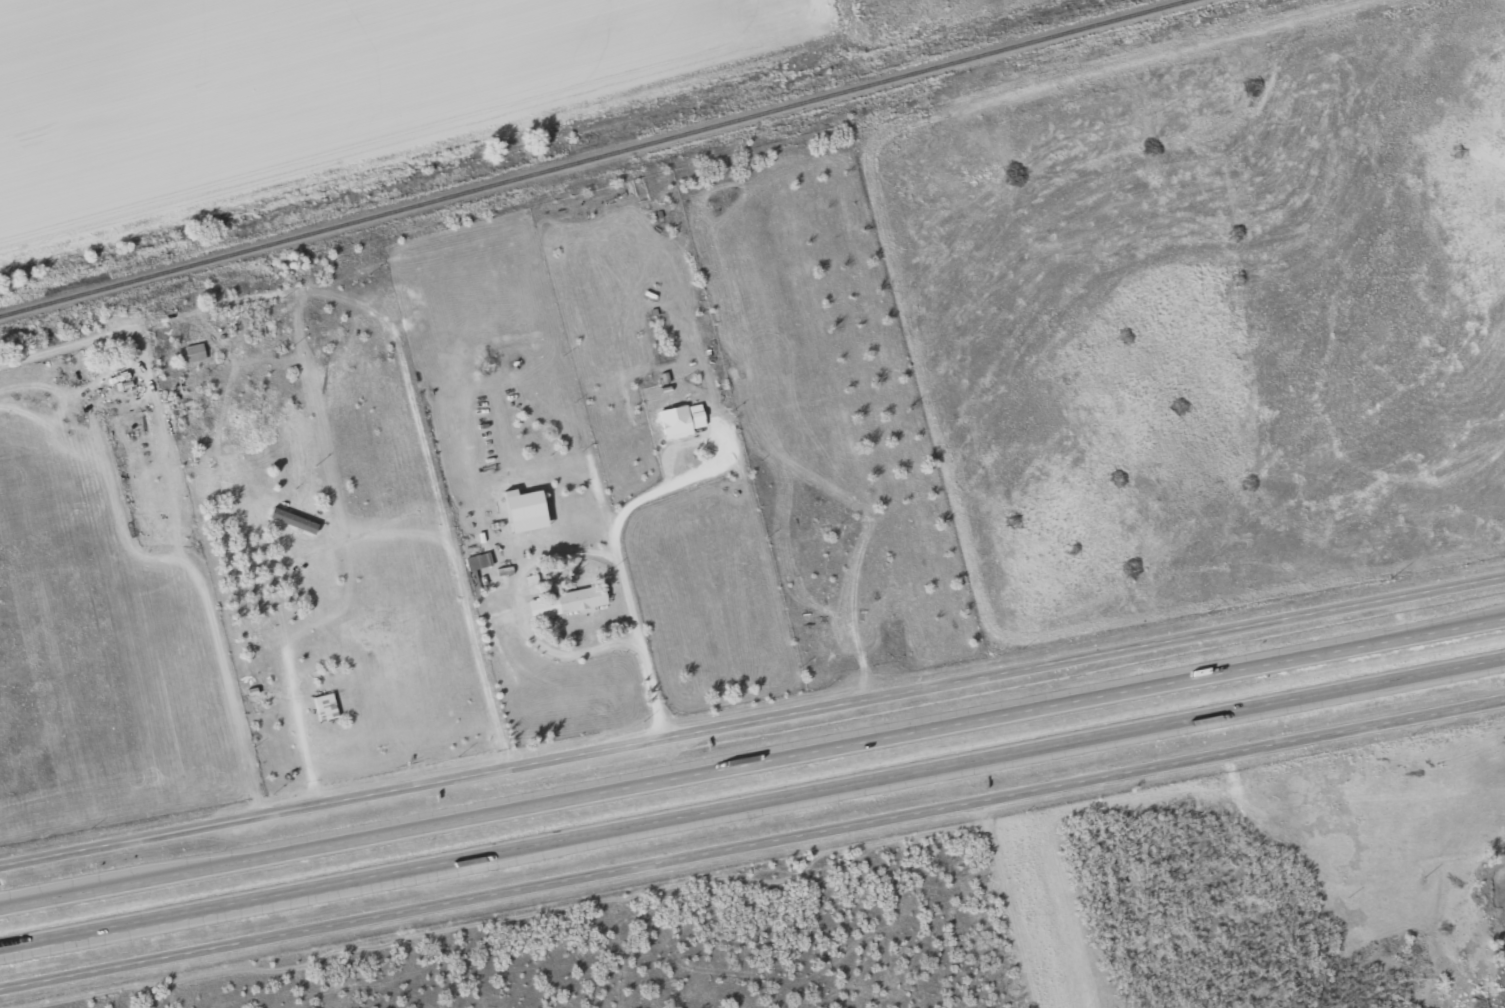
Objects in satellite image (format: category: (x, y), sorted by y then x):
railway: (592, 157)
road: (131, 327)
building: (197, 352)
building: (677, 421)
road: (433, 477)
road: (163, 555)
road: (617, 555)
building: (569, 601)
building: (327, 706)
road: (289, 709)
road: (752, 719)
road: (752, 762)
road: (752, 800)
road: (753, 850)
road: (135, 869)
road: (61, 943)

